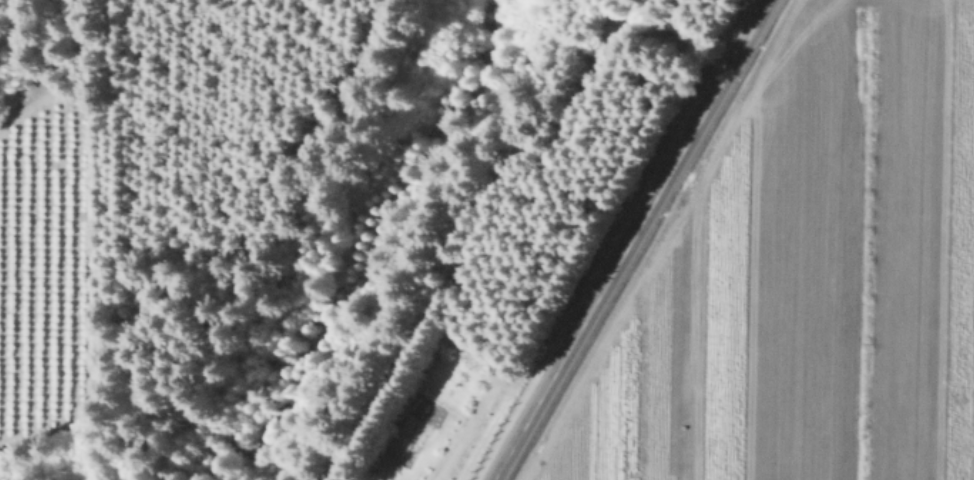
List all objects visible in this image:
road: (629, 240)
crop: (33, 265)
crop: (799, 272)

